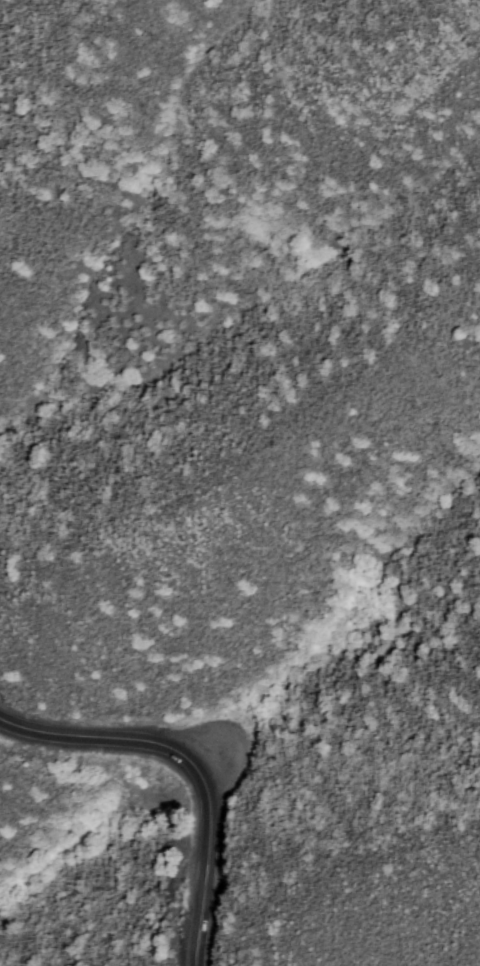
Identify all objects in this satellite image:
road: (190, 768)

